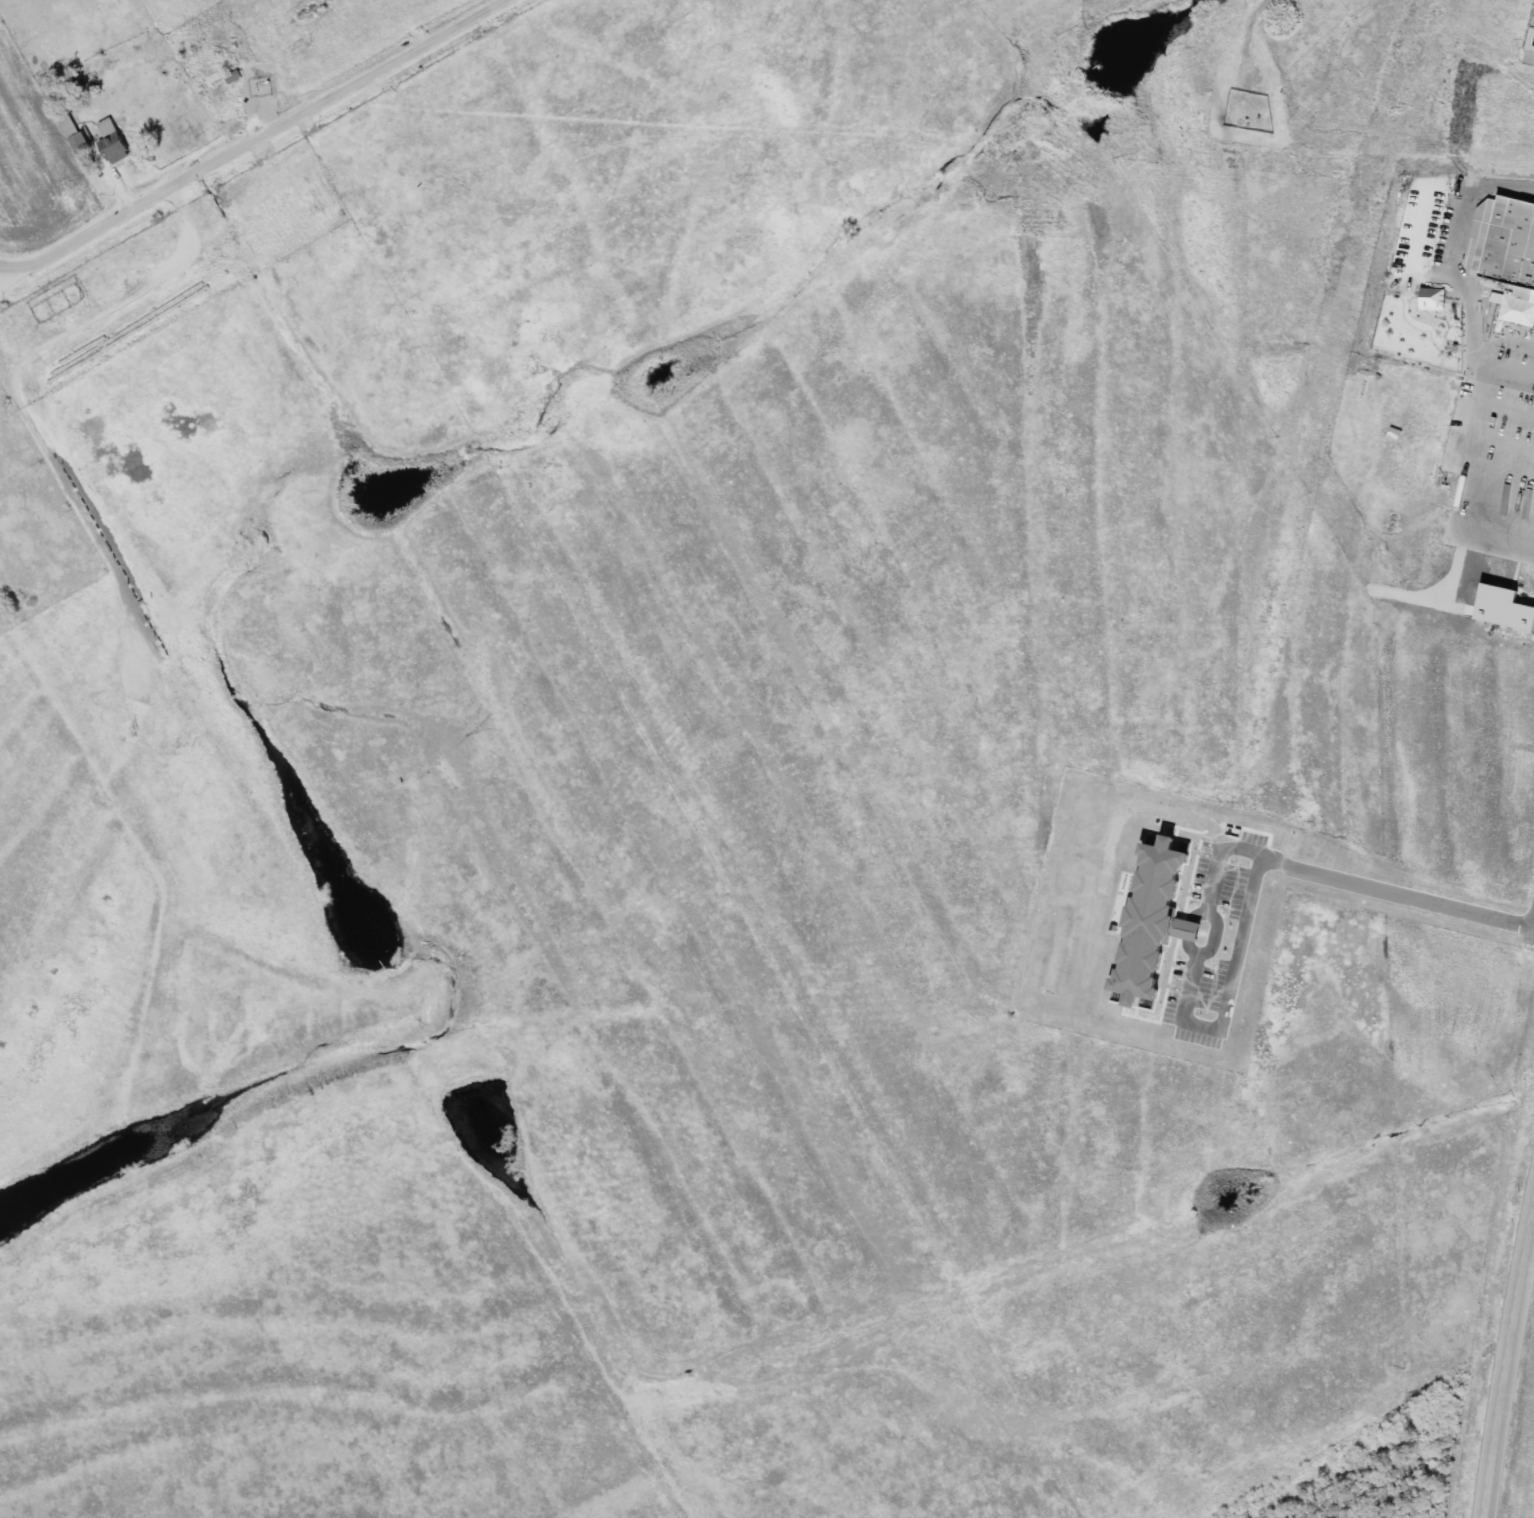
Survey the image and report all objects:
road: (1259, 33)
building: (59, 68)
building: (221, 84)
building: (73, 132)
road: (251, 140)
building: (115, 146)
parking lot: (1442, 230)
building: (1509, 245)
road: (1467, 279)
parking lot: (1516, 347)
road: (1308, 870)
road: (1187, 931)
road: (1214, 935)
road: (1524, 1297)
road: (1510, 1364)

